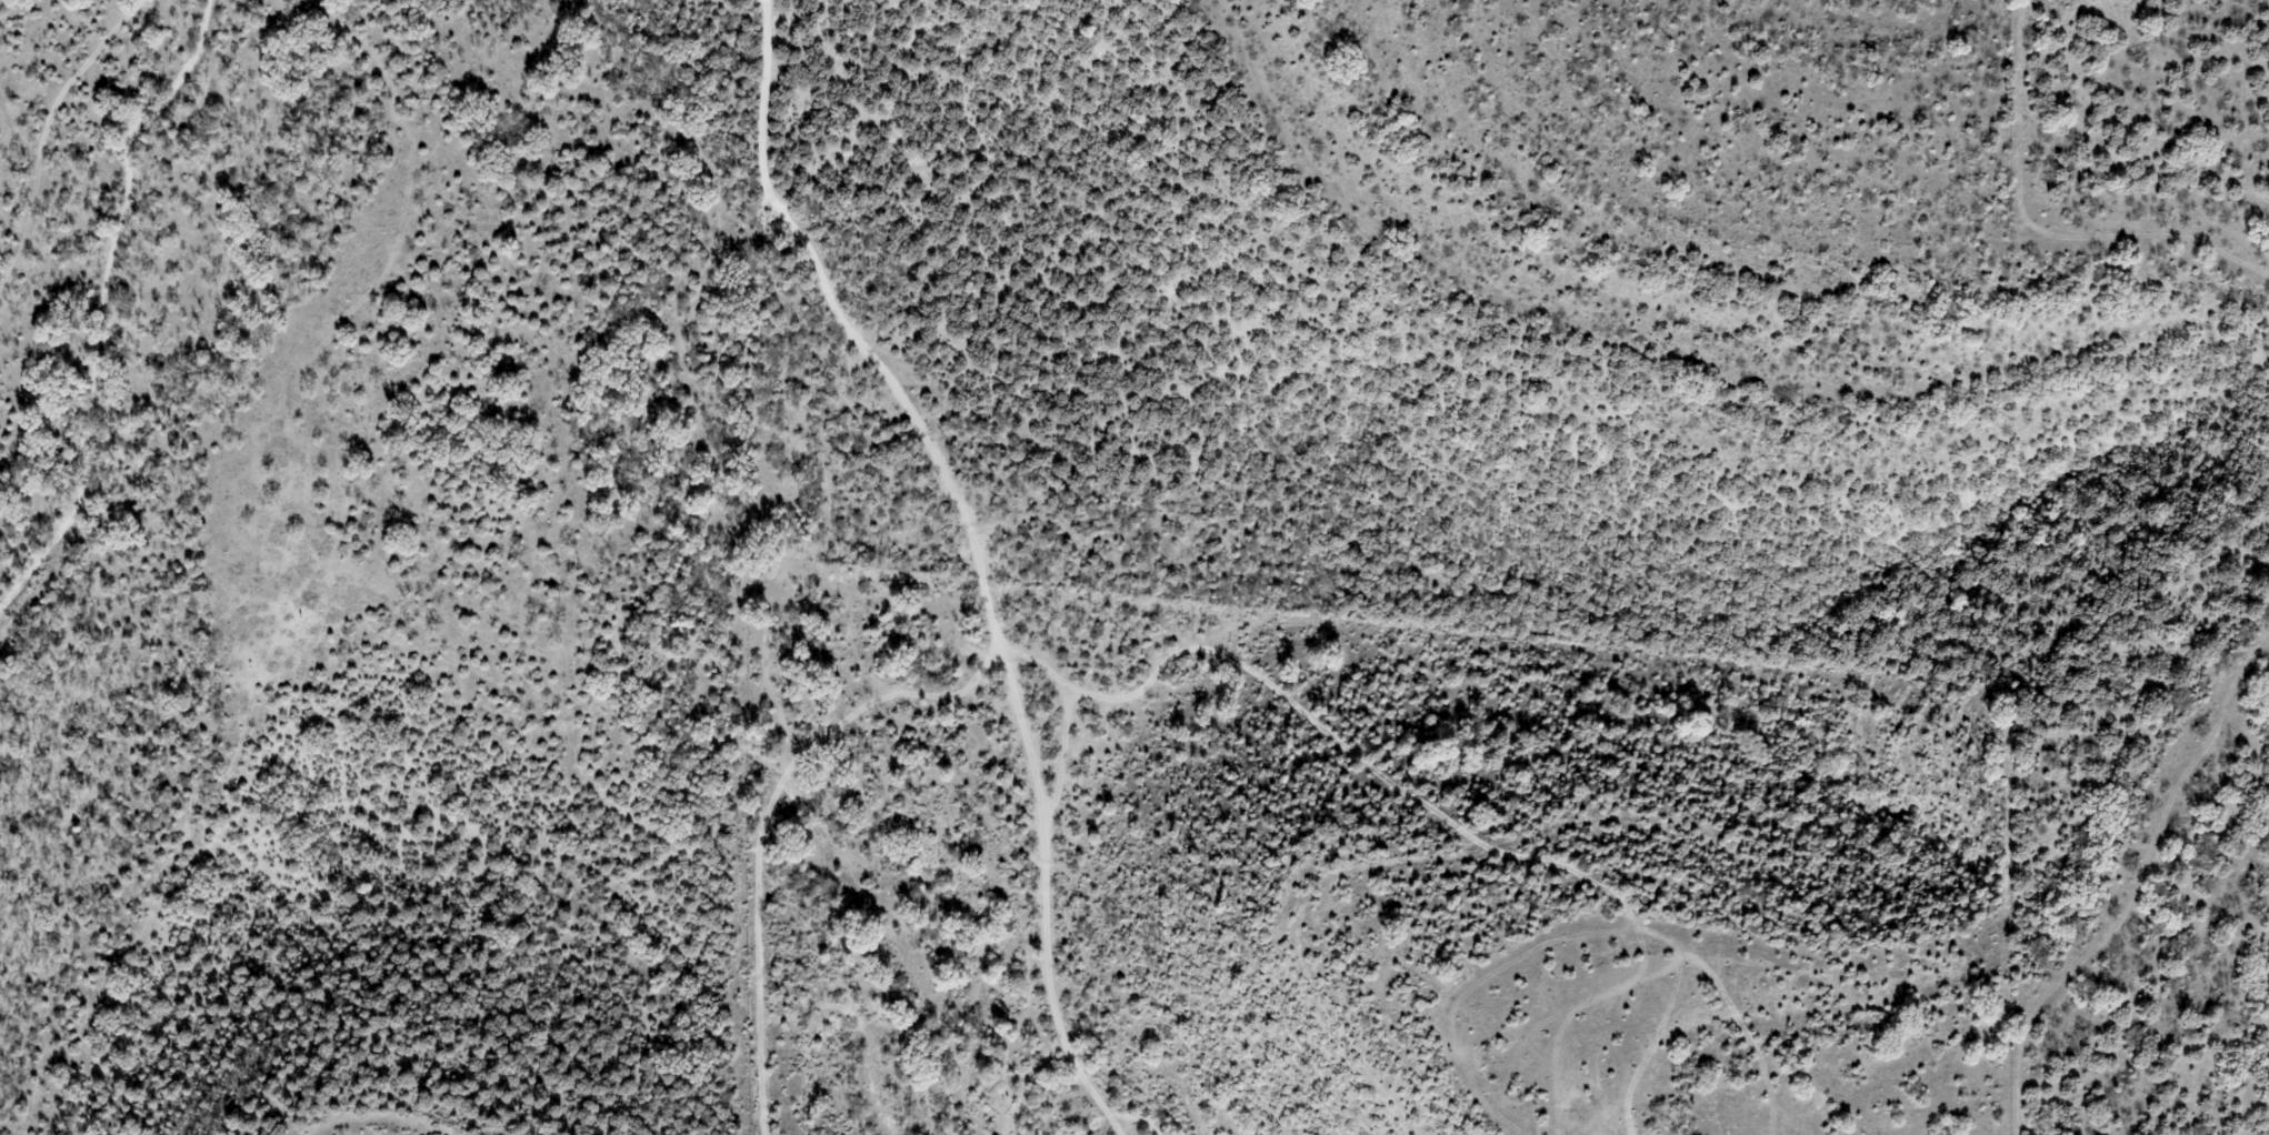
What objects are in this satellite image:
road: (940, 570)

